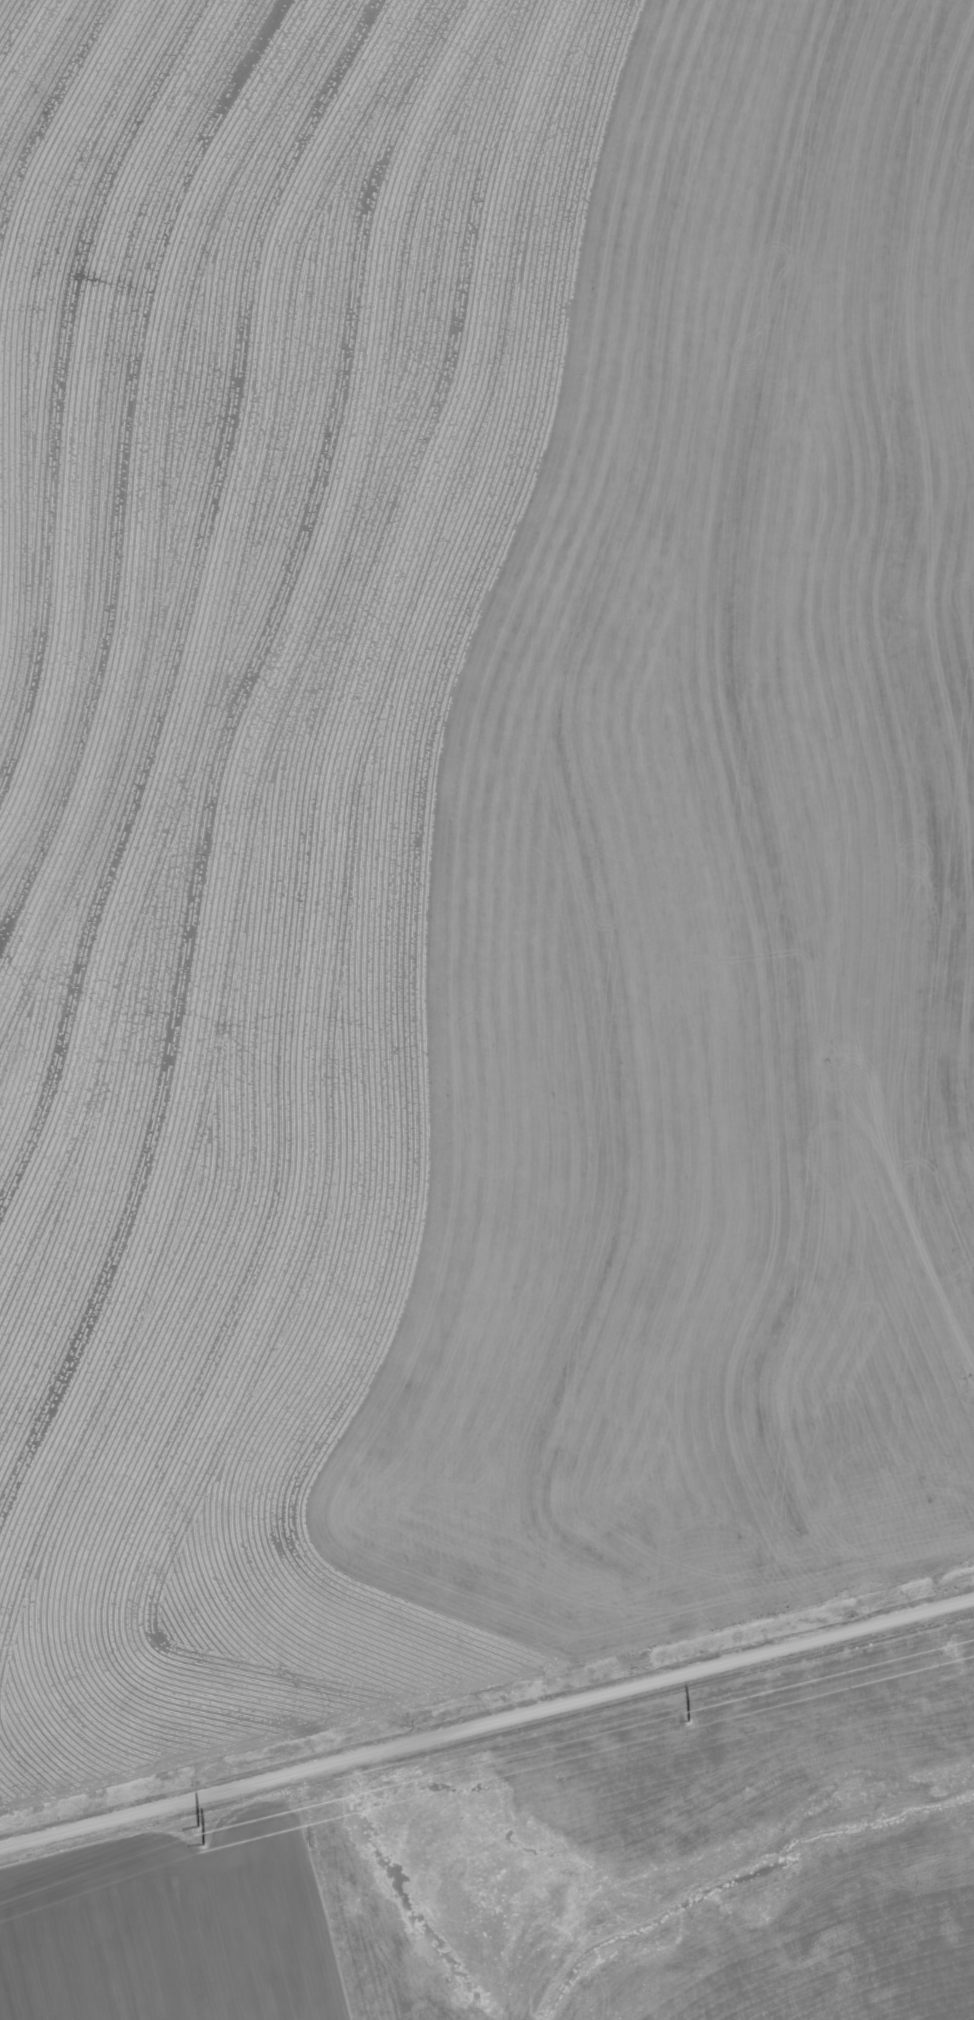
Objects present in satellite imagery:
road: (487, 1718)
power tower: (690, 1721)
power tower: (202, 1836)

